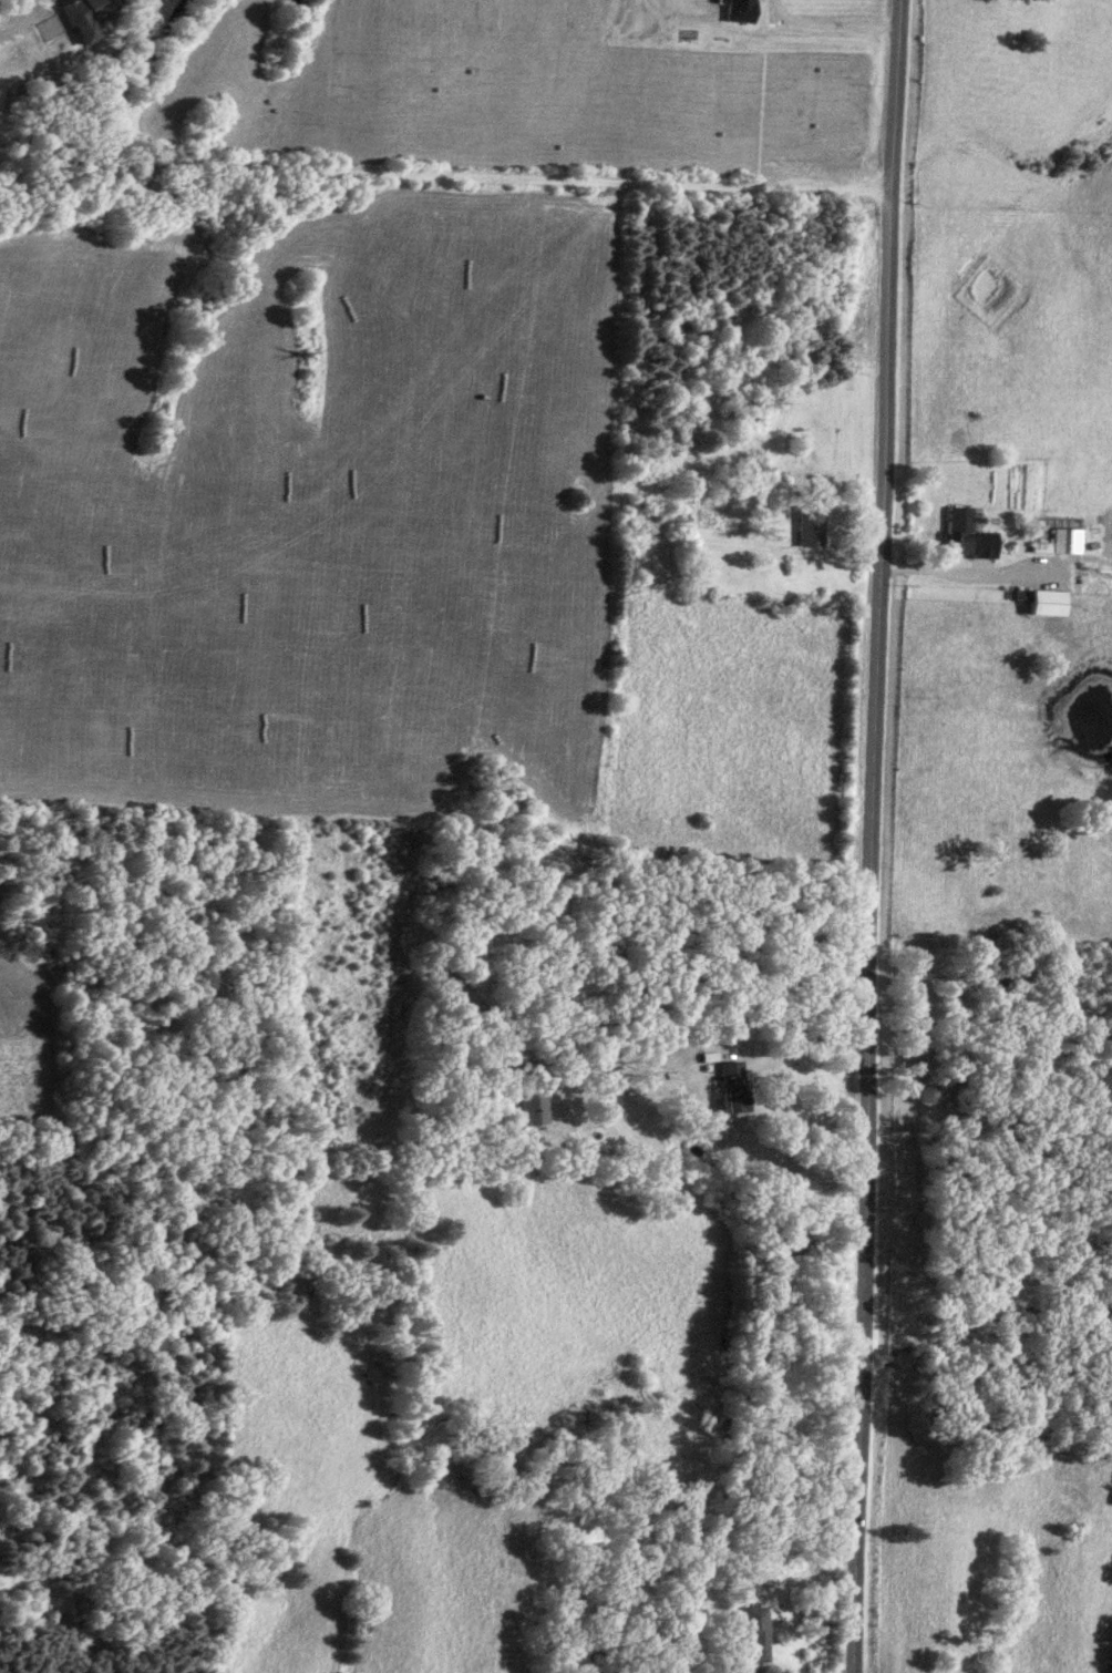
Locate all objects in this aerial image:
road: (54, 2)
building: (733, 11)
building: (72, 22)
road: (827, 33)
road: (446, 182)
building: (804, 527)
building: (954, 532)
building: (1060, 543)
road: (1034, 554)
road: (979, 572)
building: (1038, 604)
road: (871, 835)
road: (707, 1045)
building: (728, 1088)
building: (529, 1111)
building: (751, 1632)
road: (749, 1666)

